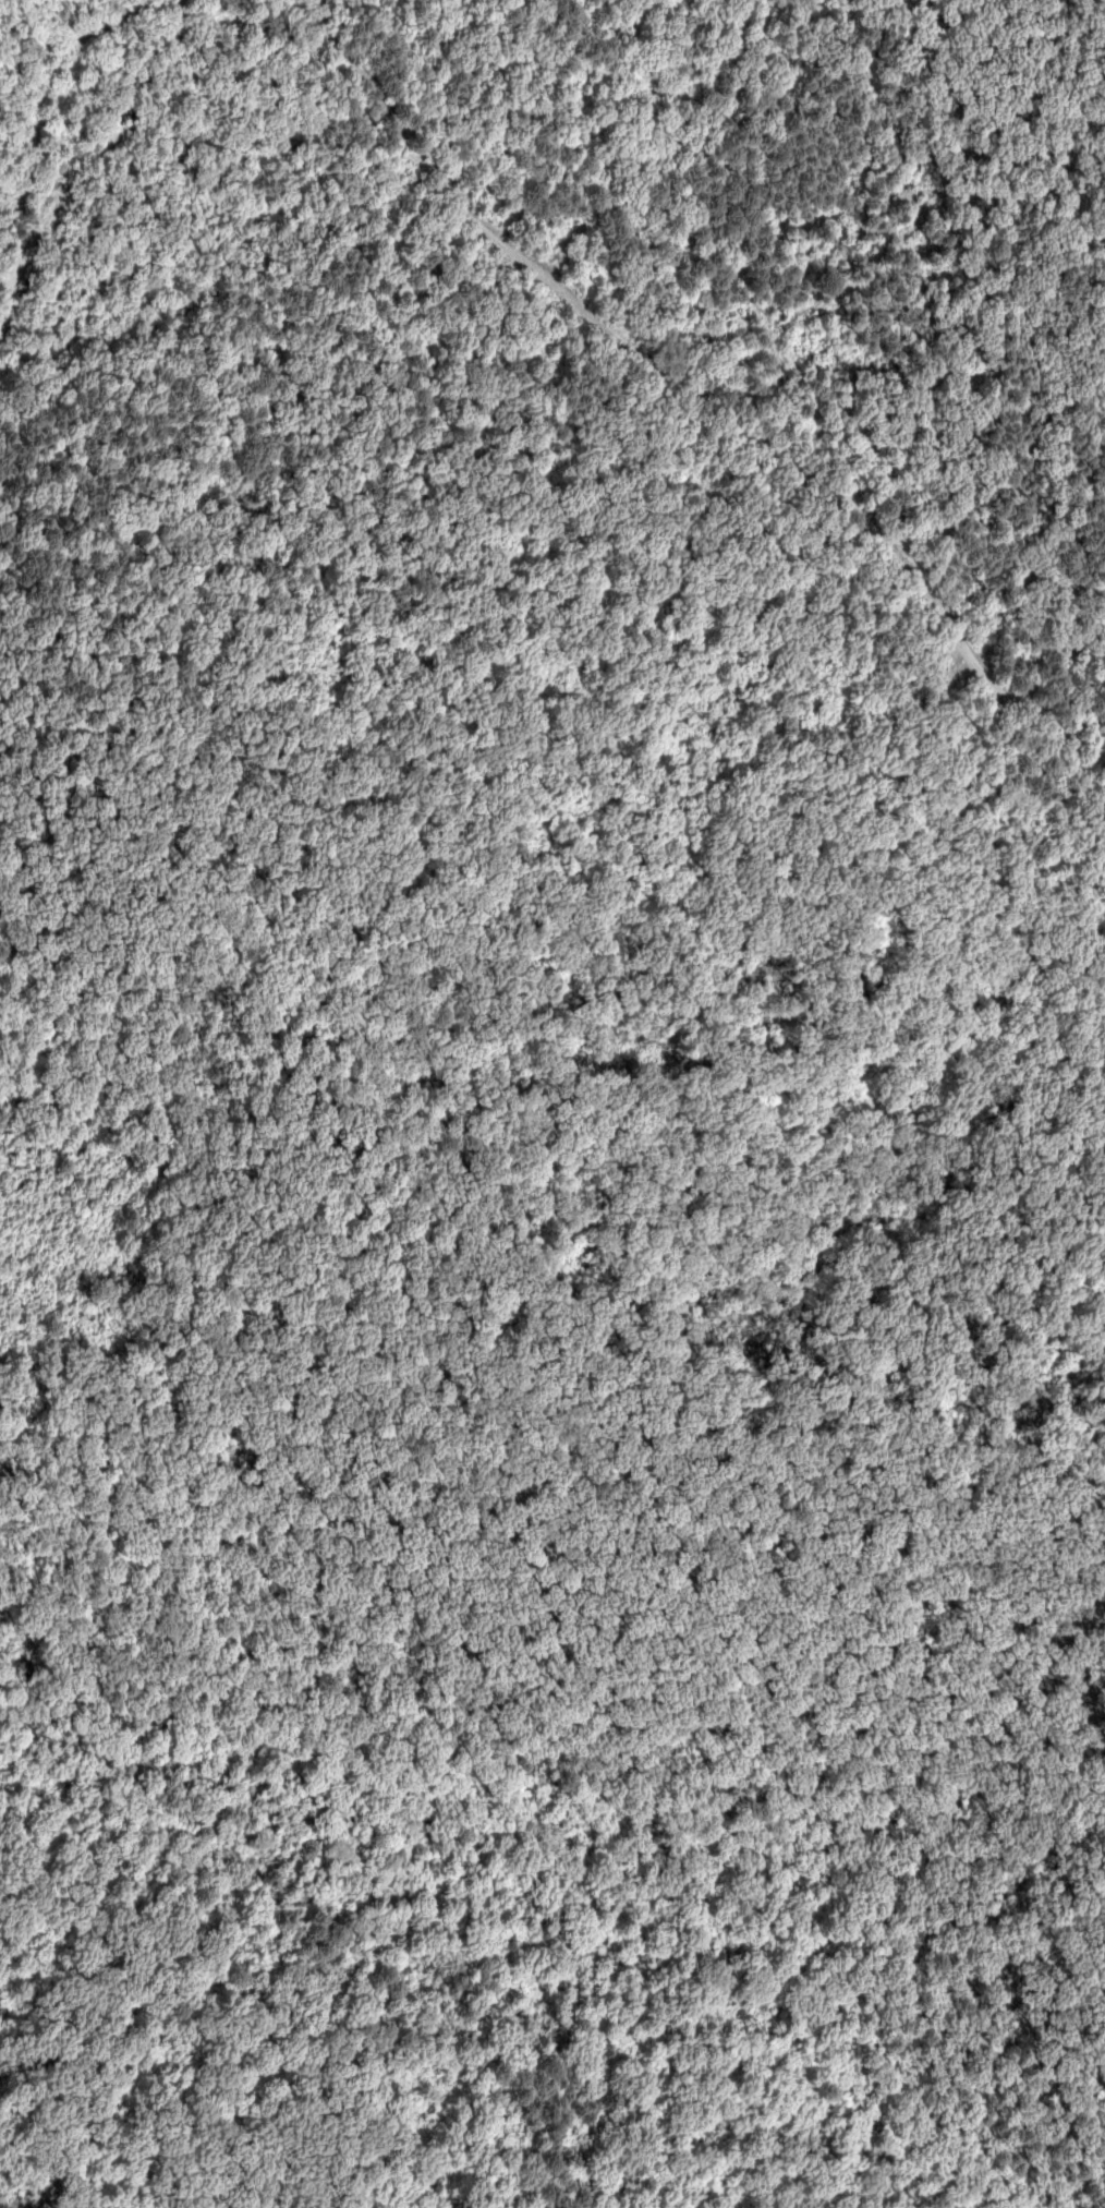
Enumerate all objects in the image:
road: (597, 806)

